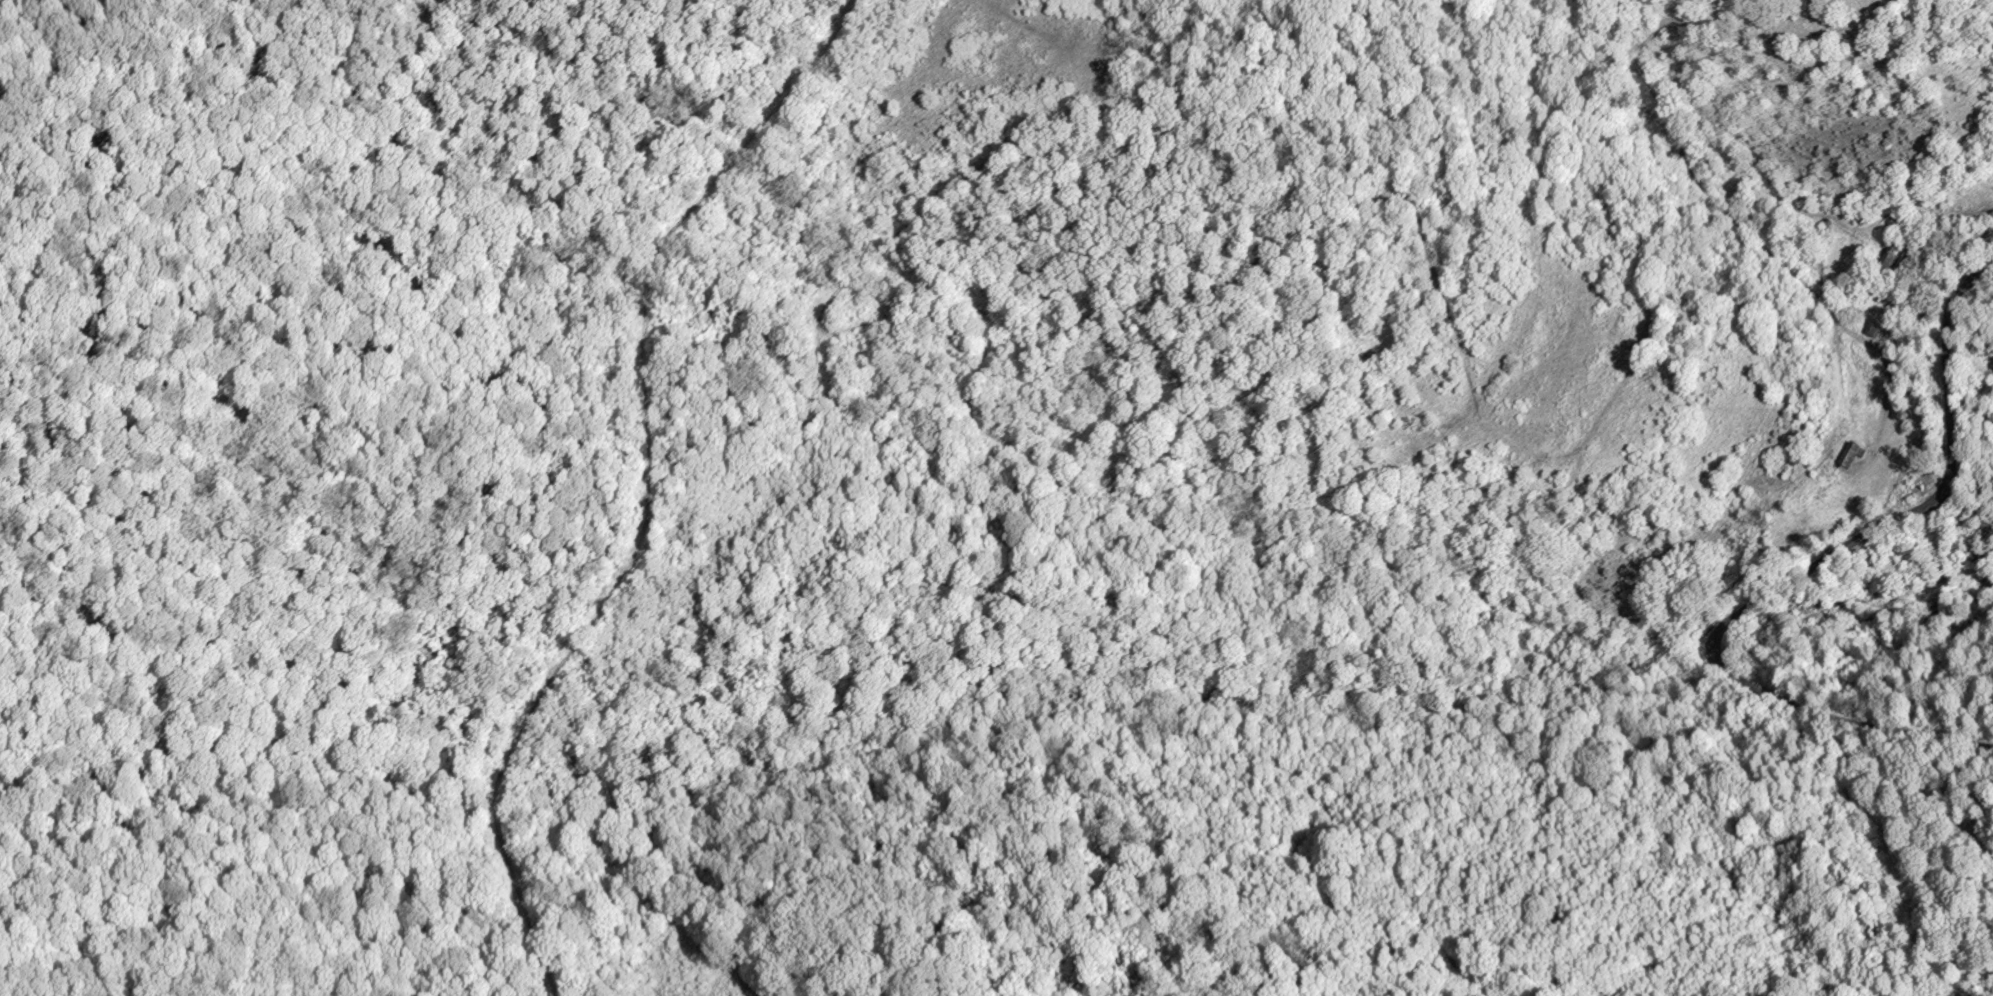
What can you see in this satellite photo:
building: (1889, 260)
building: (1850, 457)
road: (1795, 581)

